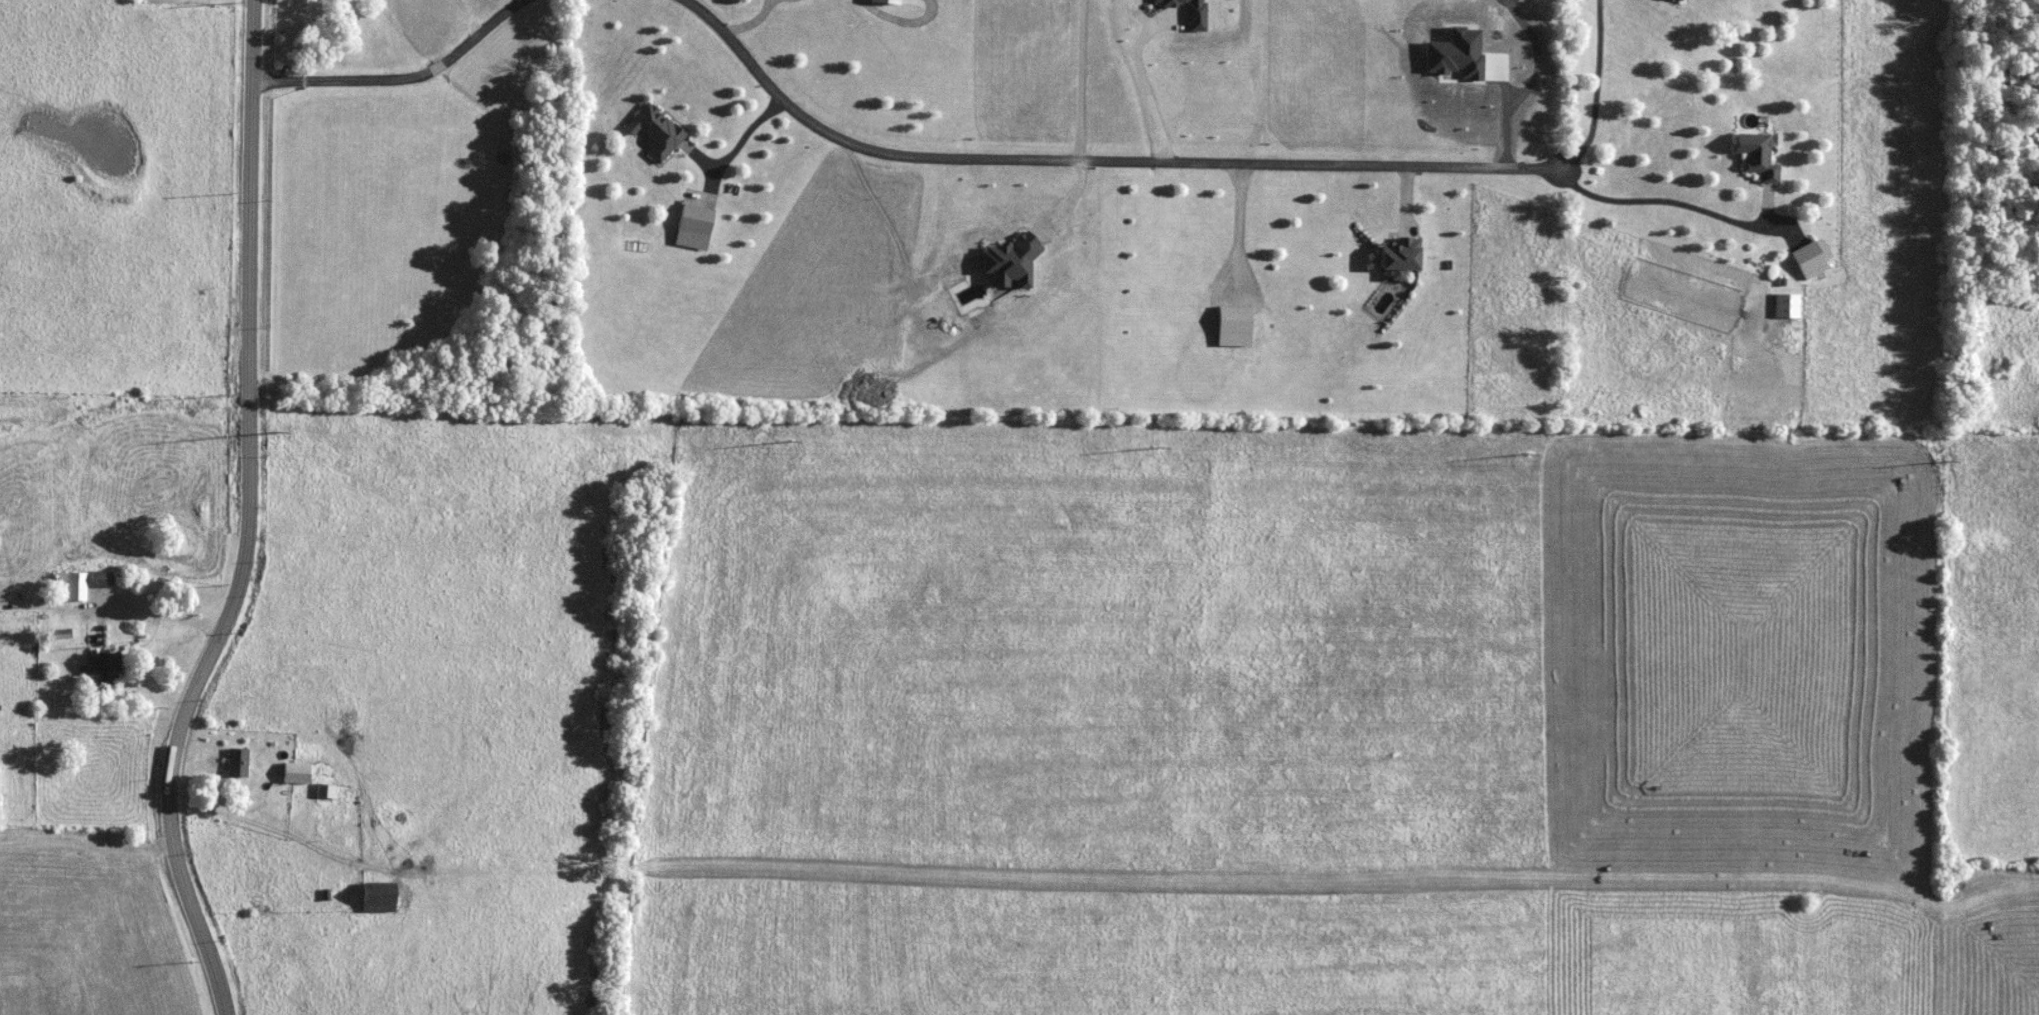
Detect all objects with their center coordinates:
building: (1684, 0)
road: (777, 1)
road: (910, 17)
road: (757, 20)
road: (405, 75)
road: (1143, 75)
road: (1078, 78)
road: (1604, 89)
road: (747, 141)
building: (1752, 155)
road: (706, 157)
road: (1104, 157)
road: (1415, 195)
road: (1684, 200)
road: (1773, 205)
road: (1245, 224)
building: (1808, 258)
road: (257, 519)
building: (88, 581)
road: (167, 611)
building: (112, 666)
building: (245, 760)
building: (306, 770)
building: (4, 792)
building: (327, 792)
road: (231, 806)
building: (388, 894)

